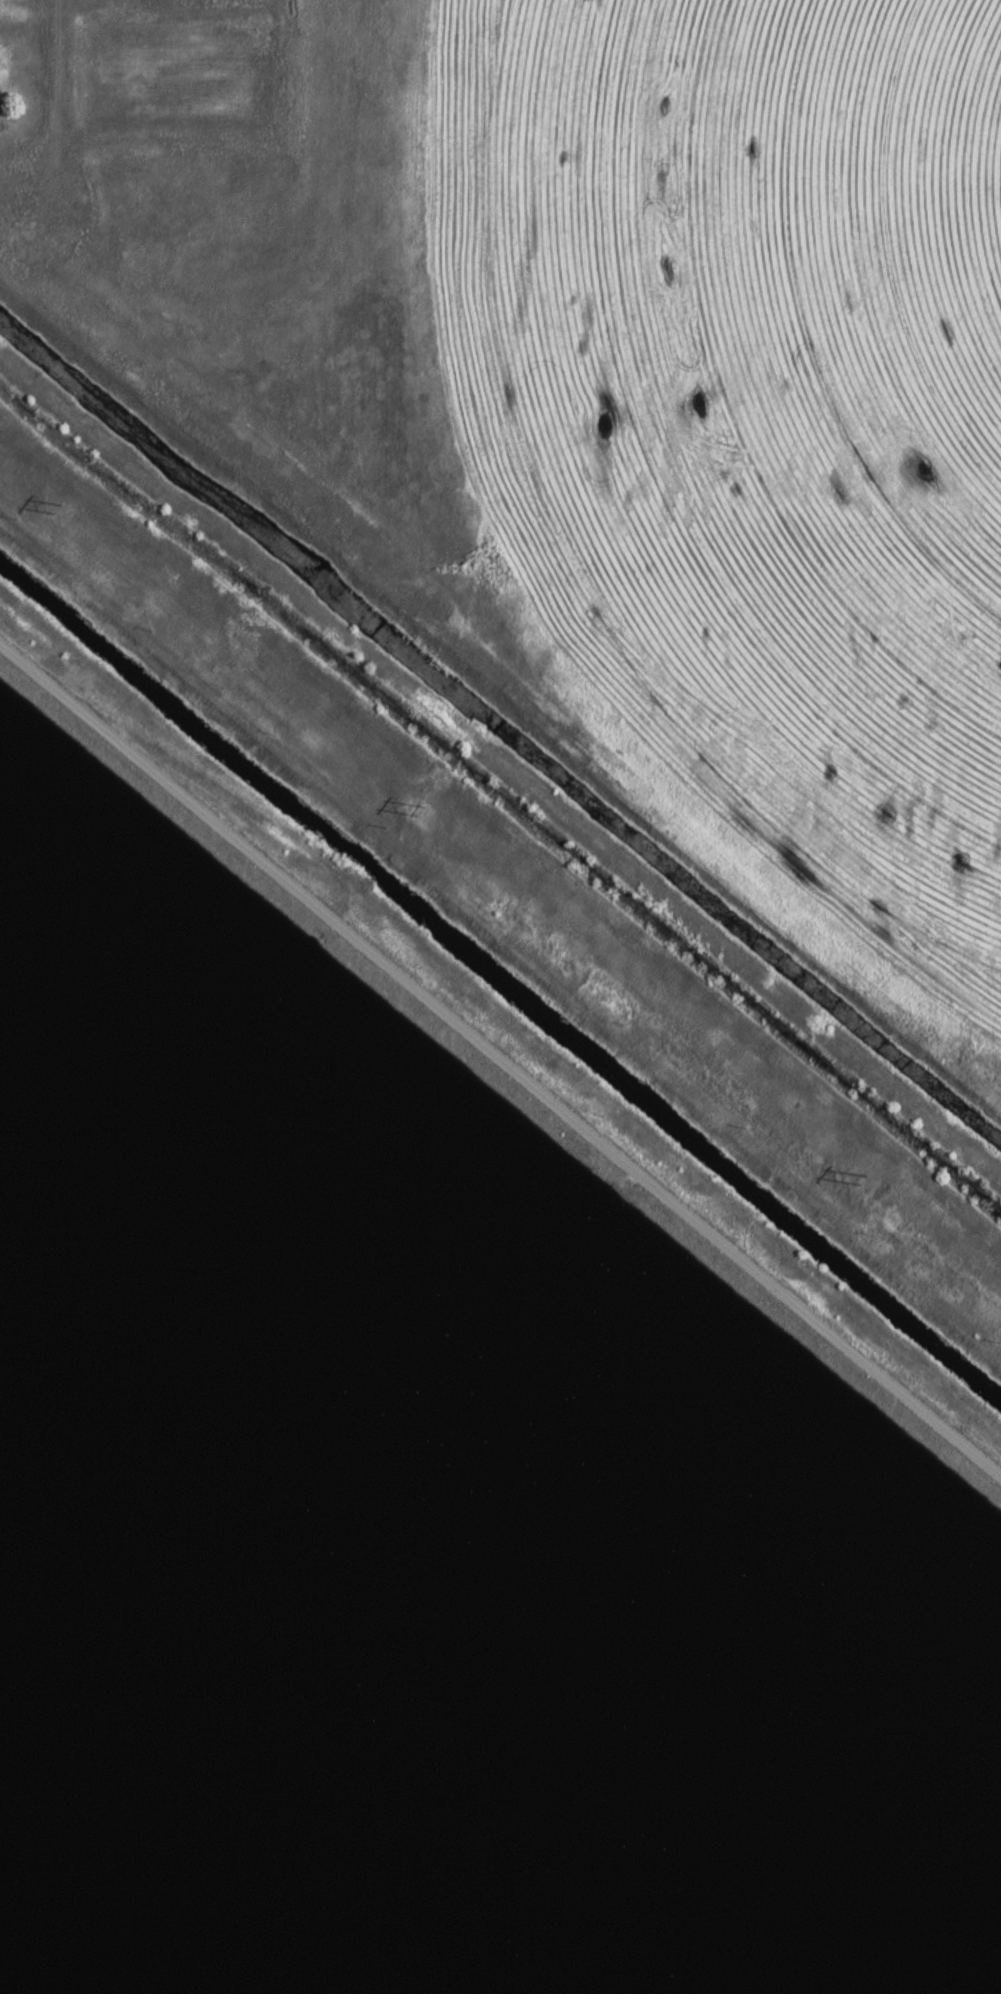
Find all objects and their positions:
power tower: (59, 505)
power tower: (420, 807)
wastewater plant: (500, 997)
road: (501, 1058)
power tower: (864, 1175)

